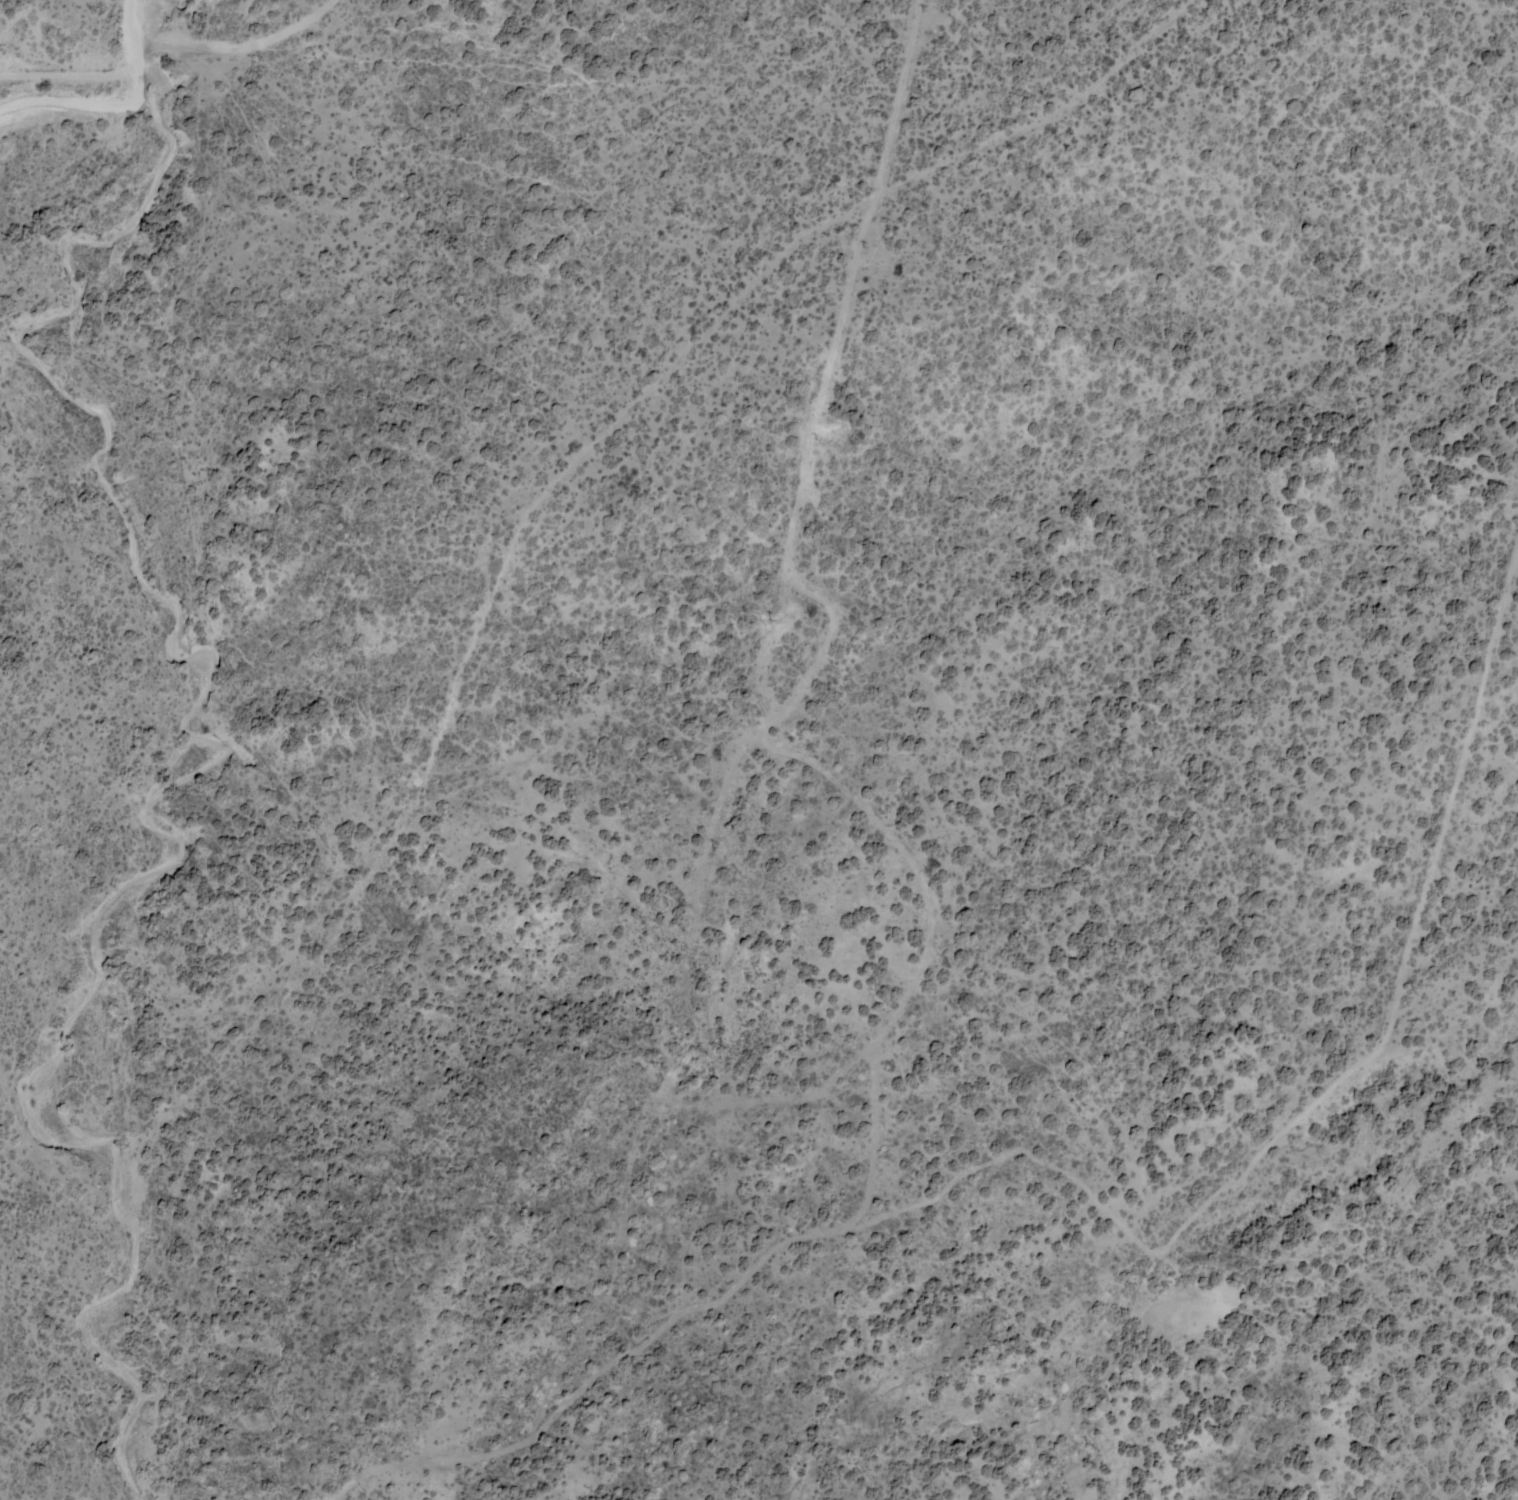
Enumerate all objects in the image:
road: (459, 667)
power tower: (655, 1068)
road: (1104, 1208)

